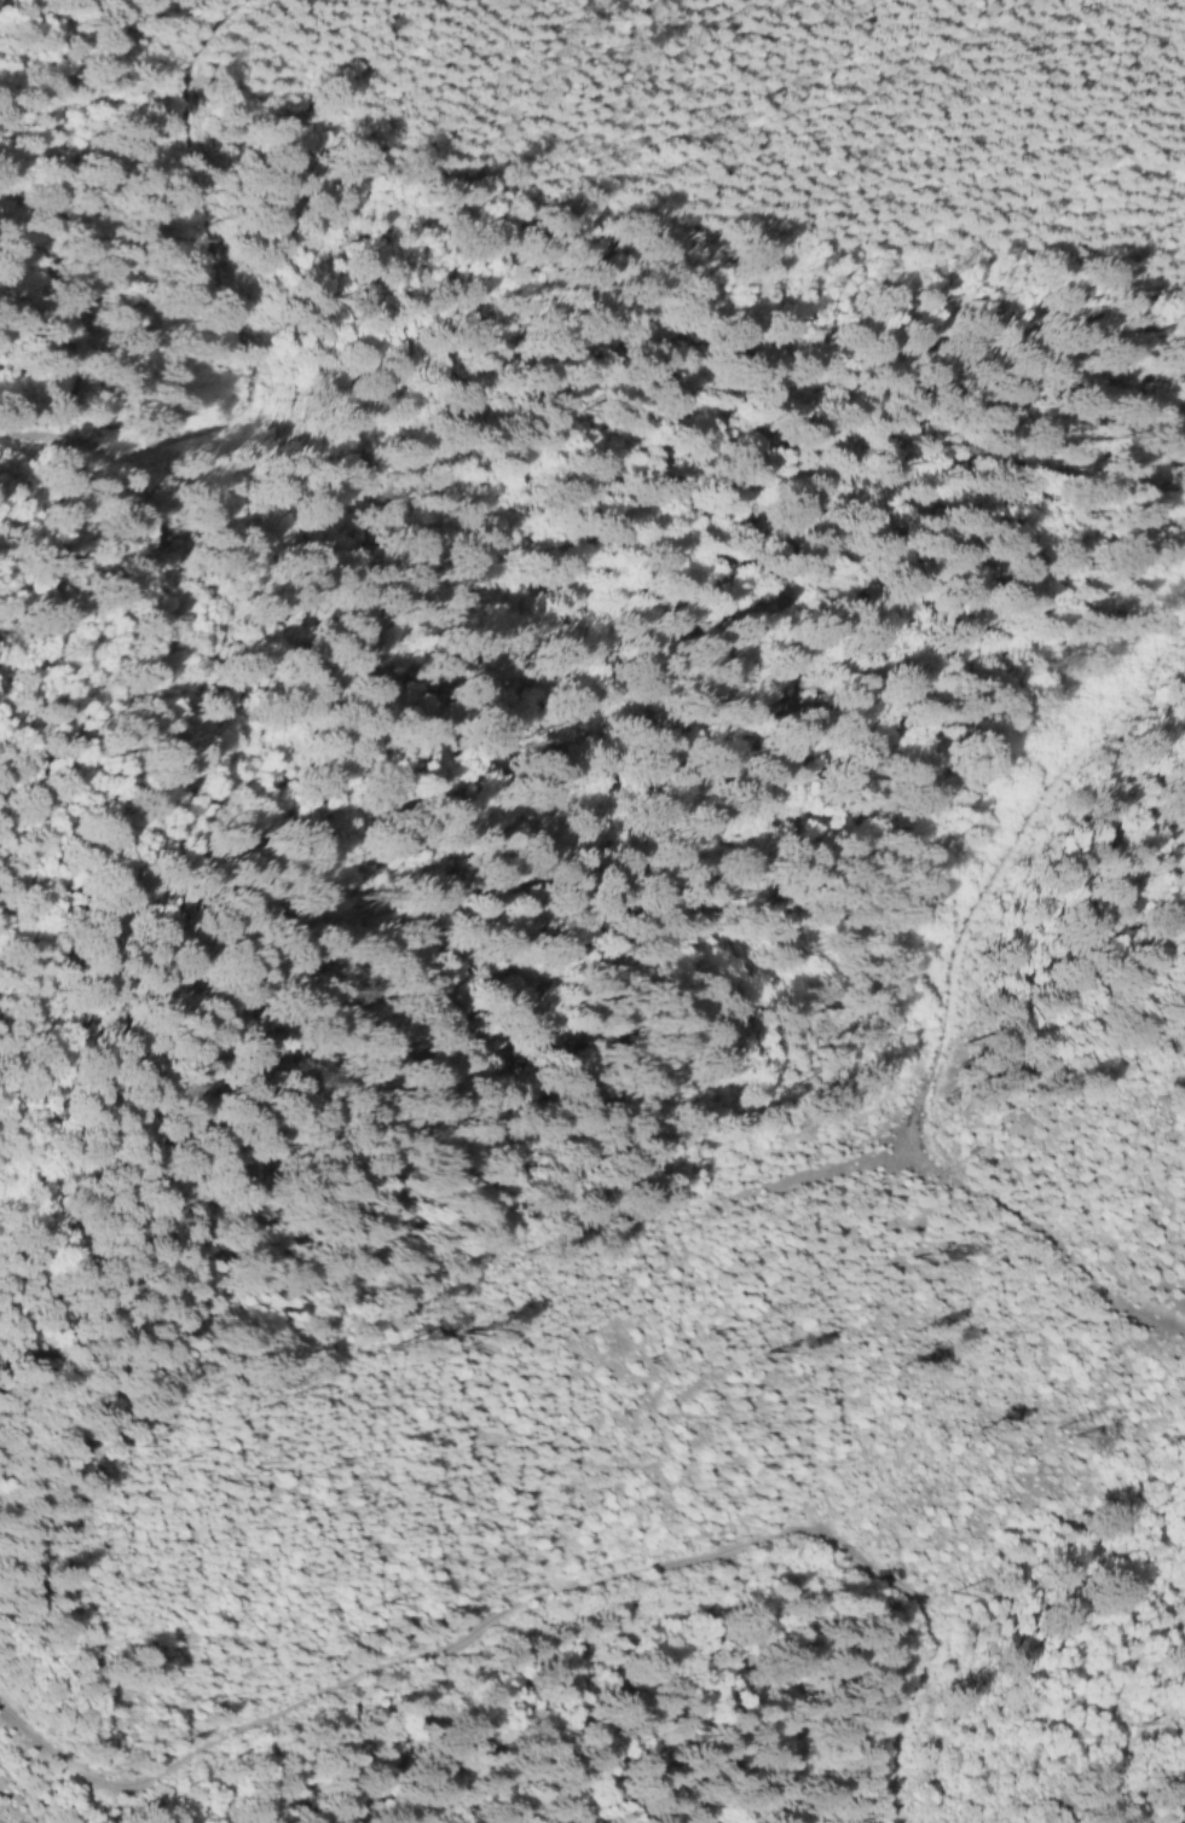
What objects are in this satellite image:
road: (212, 318)
road: (924, 1022)
road: (538, 1593)

